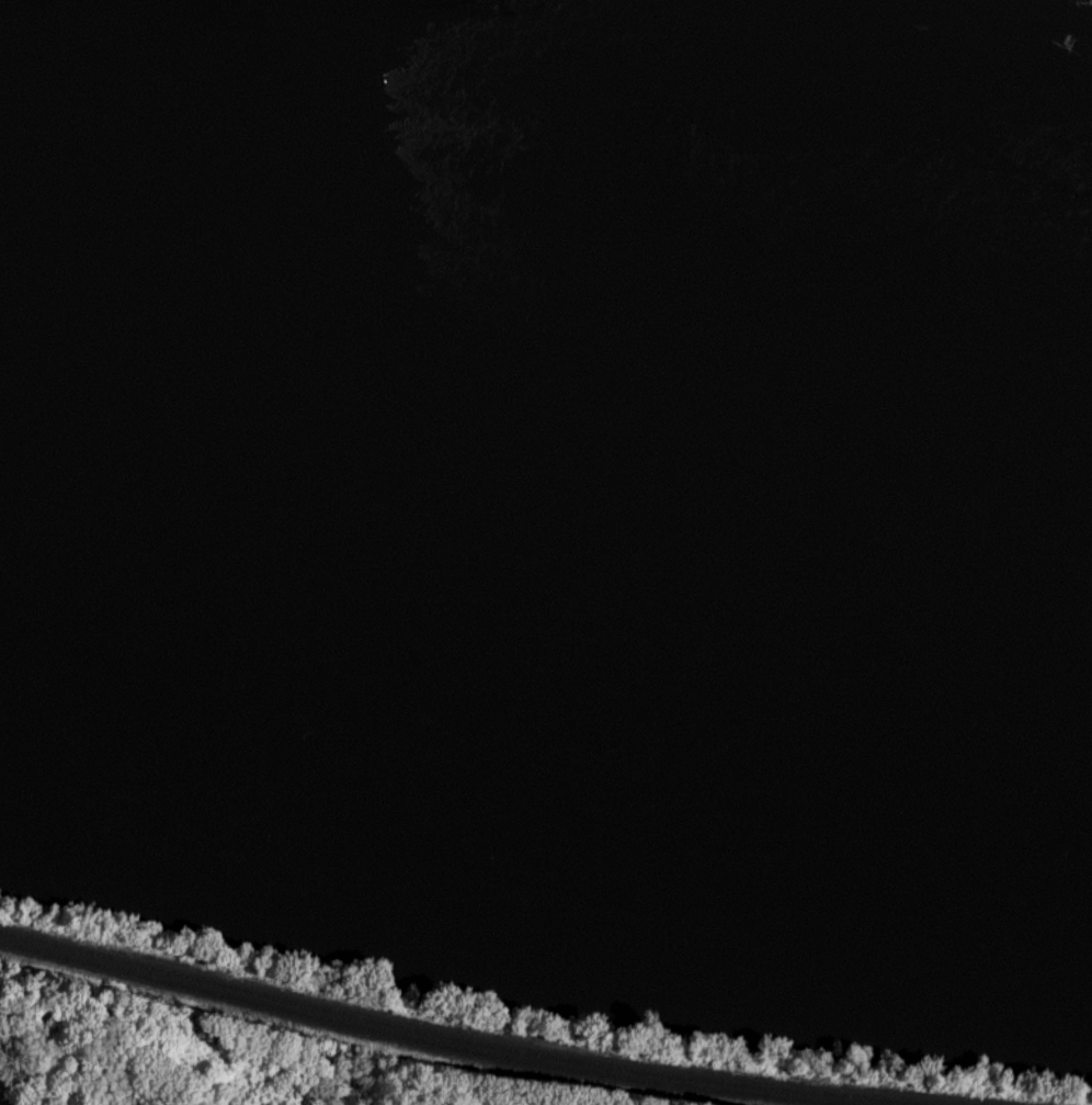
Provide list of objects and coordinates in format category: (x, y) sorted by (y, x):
river: (546, 557)
railway: (491, 1042)
railway: (417, 1048)

